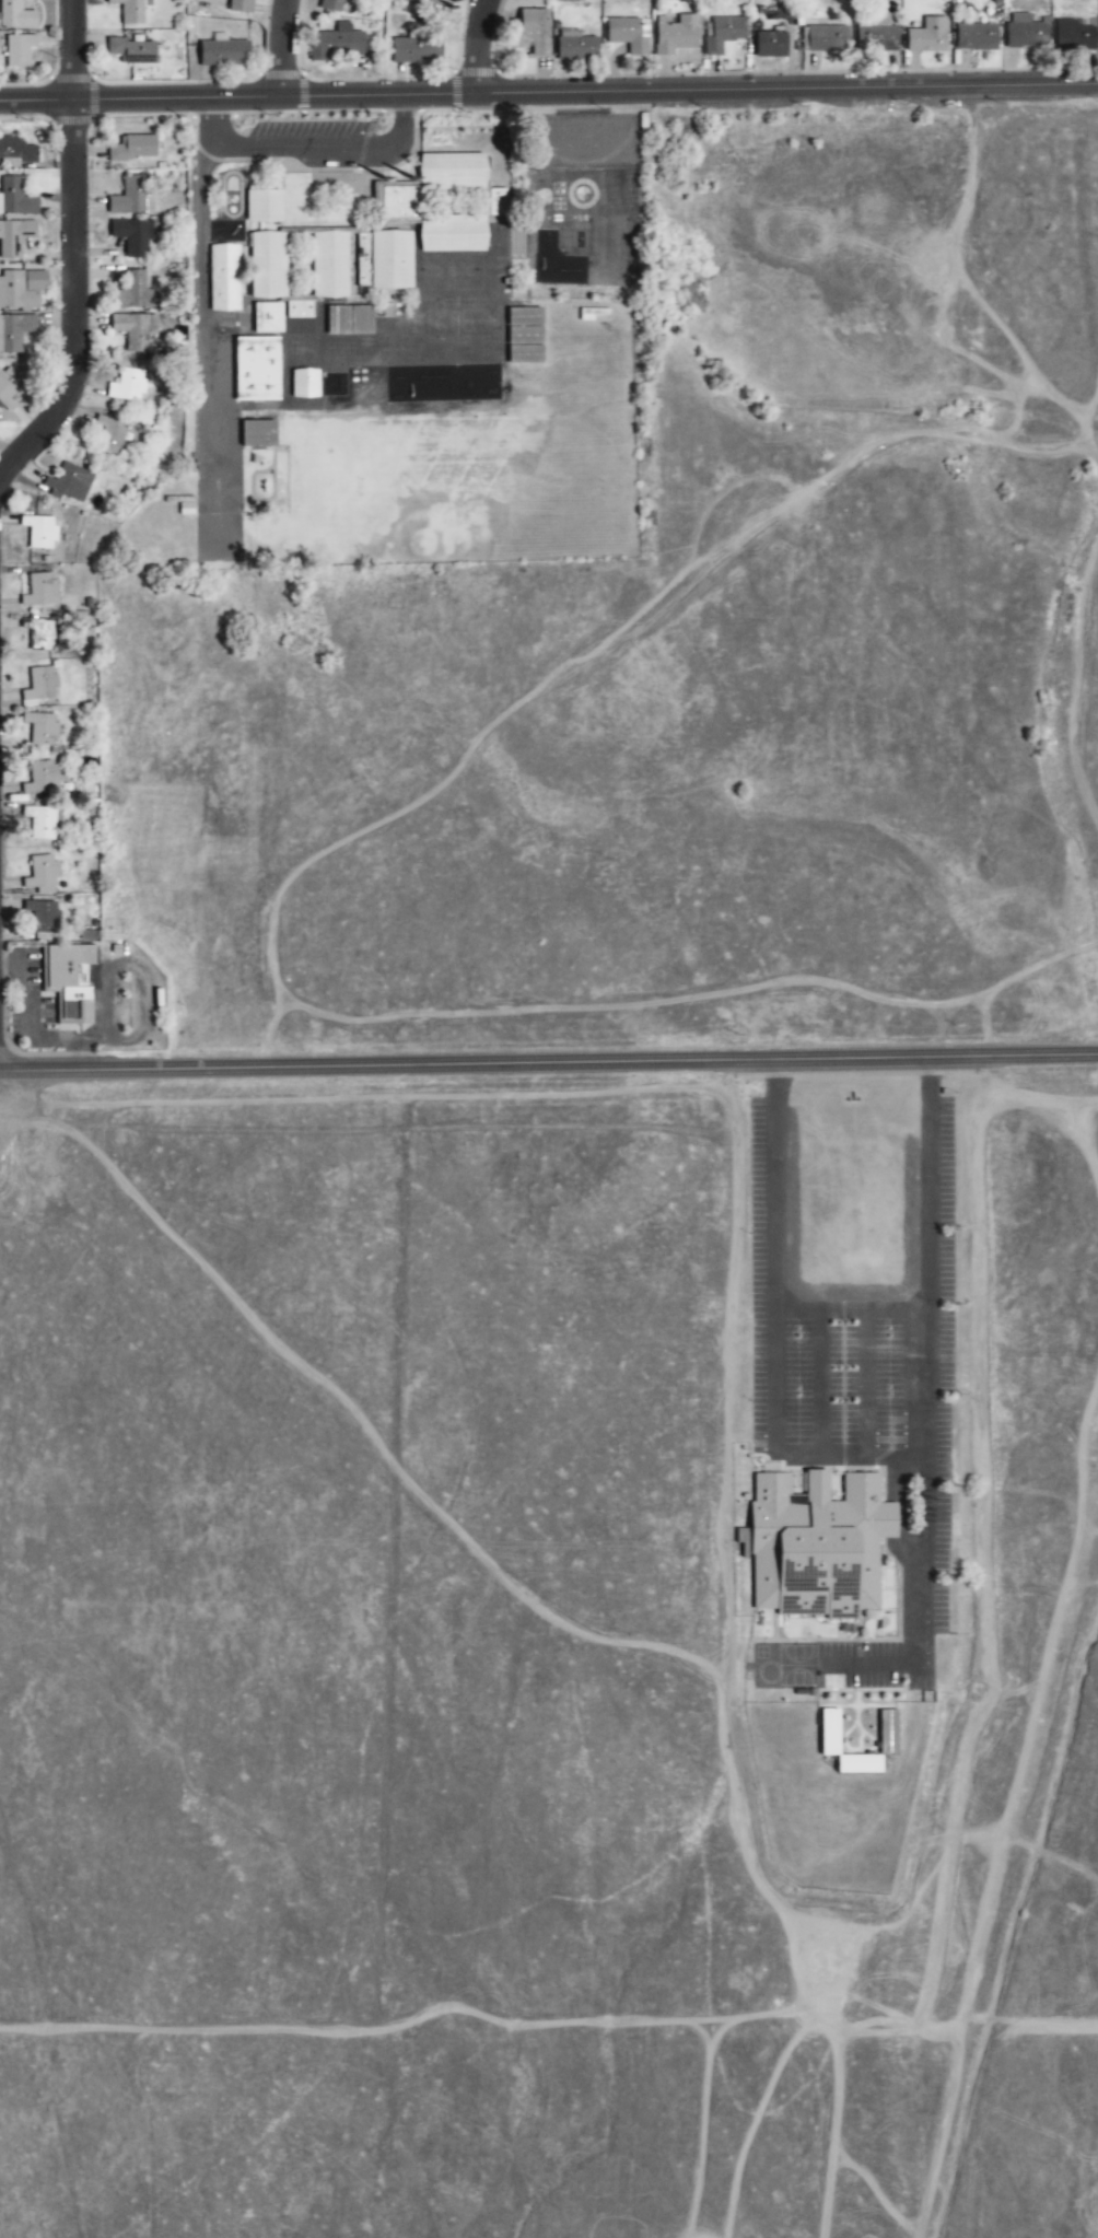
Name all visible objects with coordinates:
building: (435, 2)
building: (240, 5)
building: (330, 5)
building: (131, 10)
building: (15, 15)
building: (1026, 32)
building: (532, 33)
building: (724, 34)
building: (676, 35)
building: (1077, 35)
building: (928, 36)
building: (876, 37)
building: (977, 37)
building: (826, 38)
building: (337, 43)
building: (771, 45)
road: (479, 46)
building: (576, 46)
road: (283, 47)
building: (17, 49)
building: (416, 49)
building: (132, 51)
building: (224, 51)
road: (548, 92)
road: (399, 113)
road: (211, 115)
road: (305, 145)
building: (133, 149)
building: (16, 151)
building: (452, 172)
building: (15, 198)
building: (131, 198)
building: (497, 201)
building: (399, 202)
building: (264, 207)
building: (453, 234)
building: (133, 236)
building: (14, 237)
road: (77, 255)
road: (200, 259)
building: (362, 260)
building: (390, 260)
building: (329, 265)
building: (268, 266)
building: (224, 278)
building: (21, 290)
building: (136, 292)
building: (267, 318)
building: (362, 322)
building: (15, 331)
building: (133, 331)
building: (525, 336)
building: (257, 369)
building: (305, 384)
building: (128, 386)
building: (8, 389)
building: (109, 434)
building: (258, 434)
building: (69, 483)
building: (178, 500)
building: (39, 533)
building: (39, 591)
building: (38, 630)
building: (40, 685)
building: (40, 730)
building: (42, 779)
building: (40, 823)
building: (42, 876)
building: (43, 918)
building: (69, 981)
road: (549, 1065)
building: (819, 1545)
building: (830, 1732)
building: (888, 1732)

